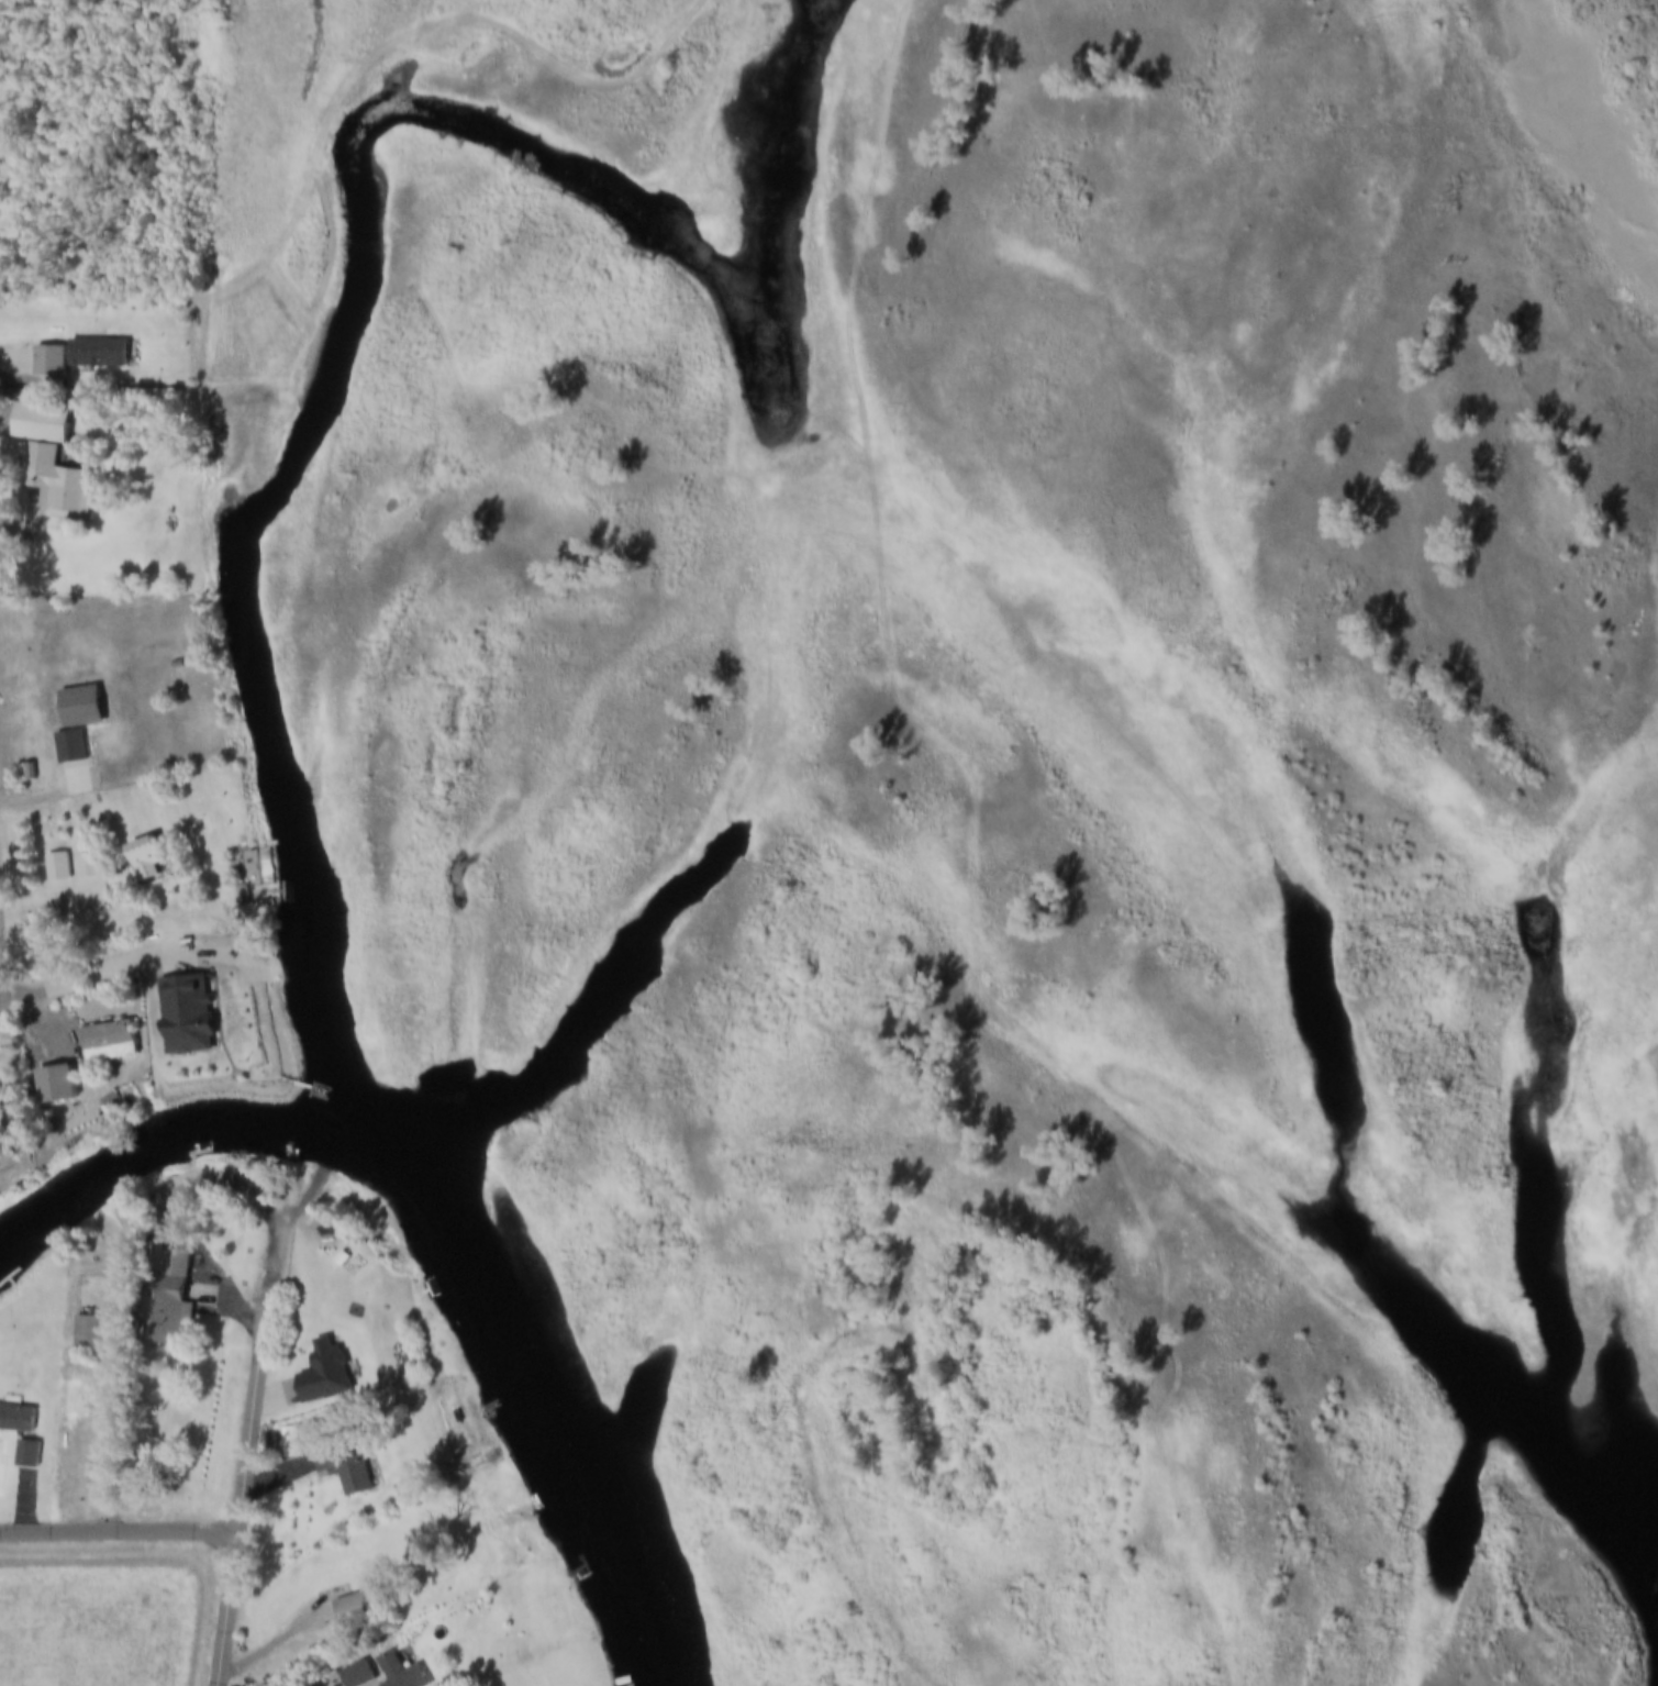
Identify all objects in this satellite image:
building: (97, 355)
building: (48, 363)
building: (40, 425)
building: (57, 484)
building: (71, 723)
building: (137, 859)
building: (84, 867)
building: (52, 868)
road: (42, 1008)
building: (102, 1044)
building: (48, 1086)
building: (165, 1304)
building: (87, 1335)
building: (319, 1389)
road: (115, 1410)
building: (13, 1421)
building: (22, 1455)
road: (247, 1458)
building: (340, 1466)
road: (119, 1530)
building: (348, 1615)
road: (282, 1635)
building: (397, 1673)
building: (346, 1677)

